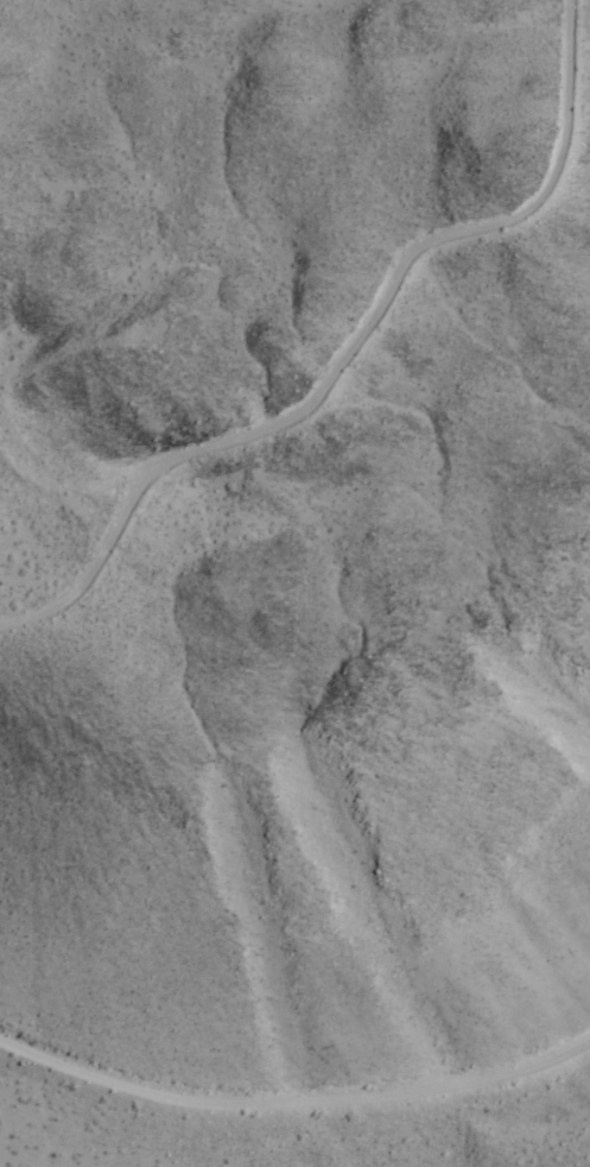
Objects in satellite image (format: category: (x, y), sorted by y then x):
road: (297, 1112)

